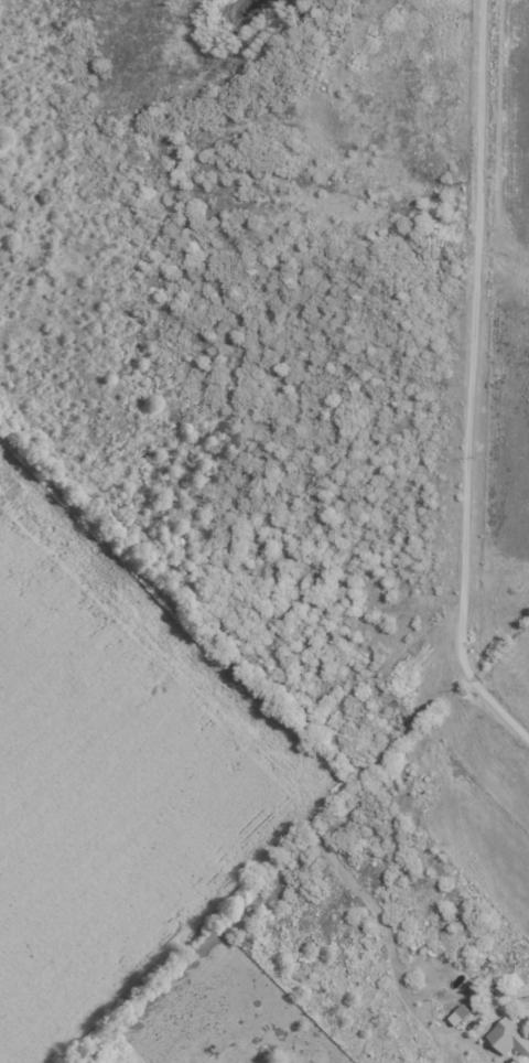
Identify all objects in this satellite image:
road: (478, 362)
building: (462, 1014)
building: (511, 1035)

